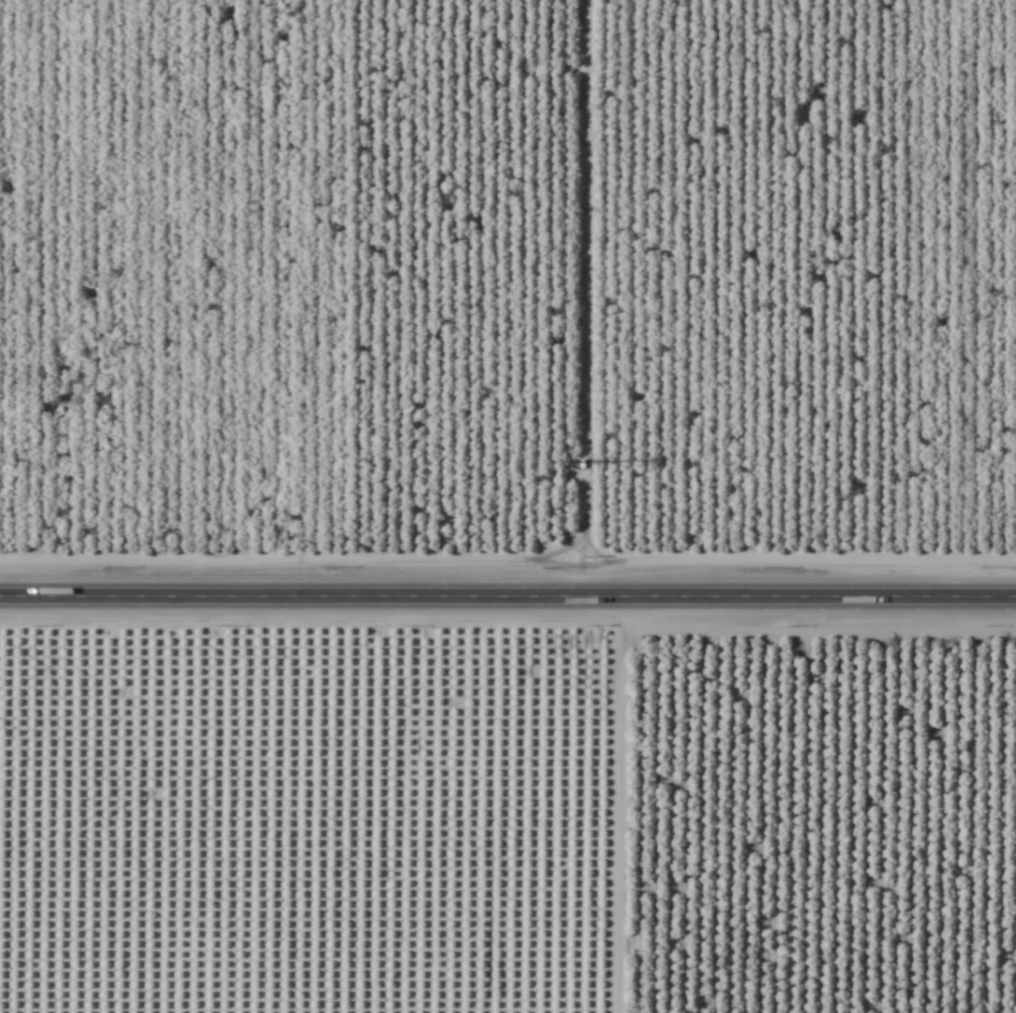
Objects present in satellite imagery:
road: (508, 597)
road: (521, 805)
crop: (508, 819)

